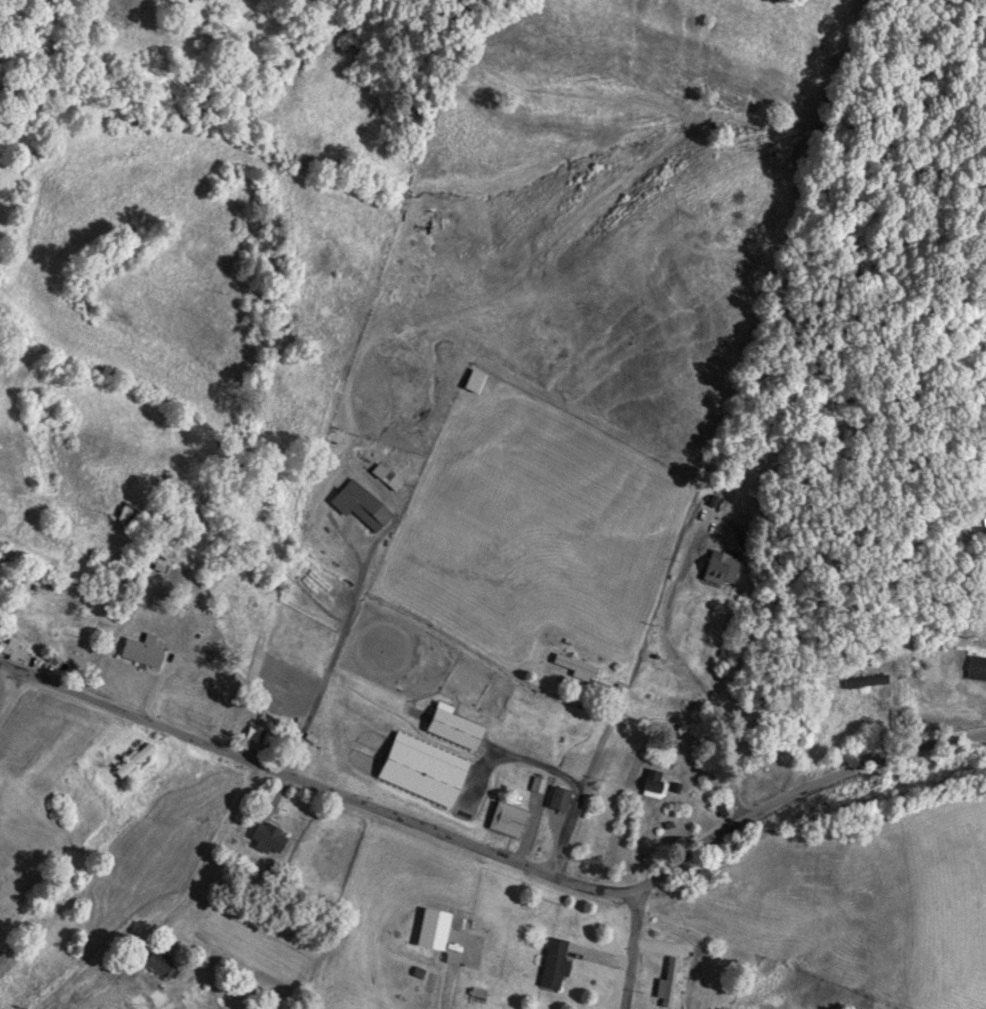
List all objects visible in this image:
building: (381, 473)
building: (358, 504)
building: (718, 567)
building: (11, 651)
building: (140, 651)
building: (571, 666)
building: (976, 668)
building: (882, 689)
building: (452, 729)
building: (130, 760)
building: (420, 769)
road: (313, 782)
building: (652, 783)
road: (796, 787)
building: (558, 798)
building: (513, 821)
building: (265, 836)
road: (624, 948)
building: (157, 962)
building: (552, 963)
building: (667, 981)

